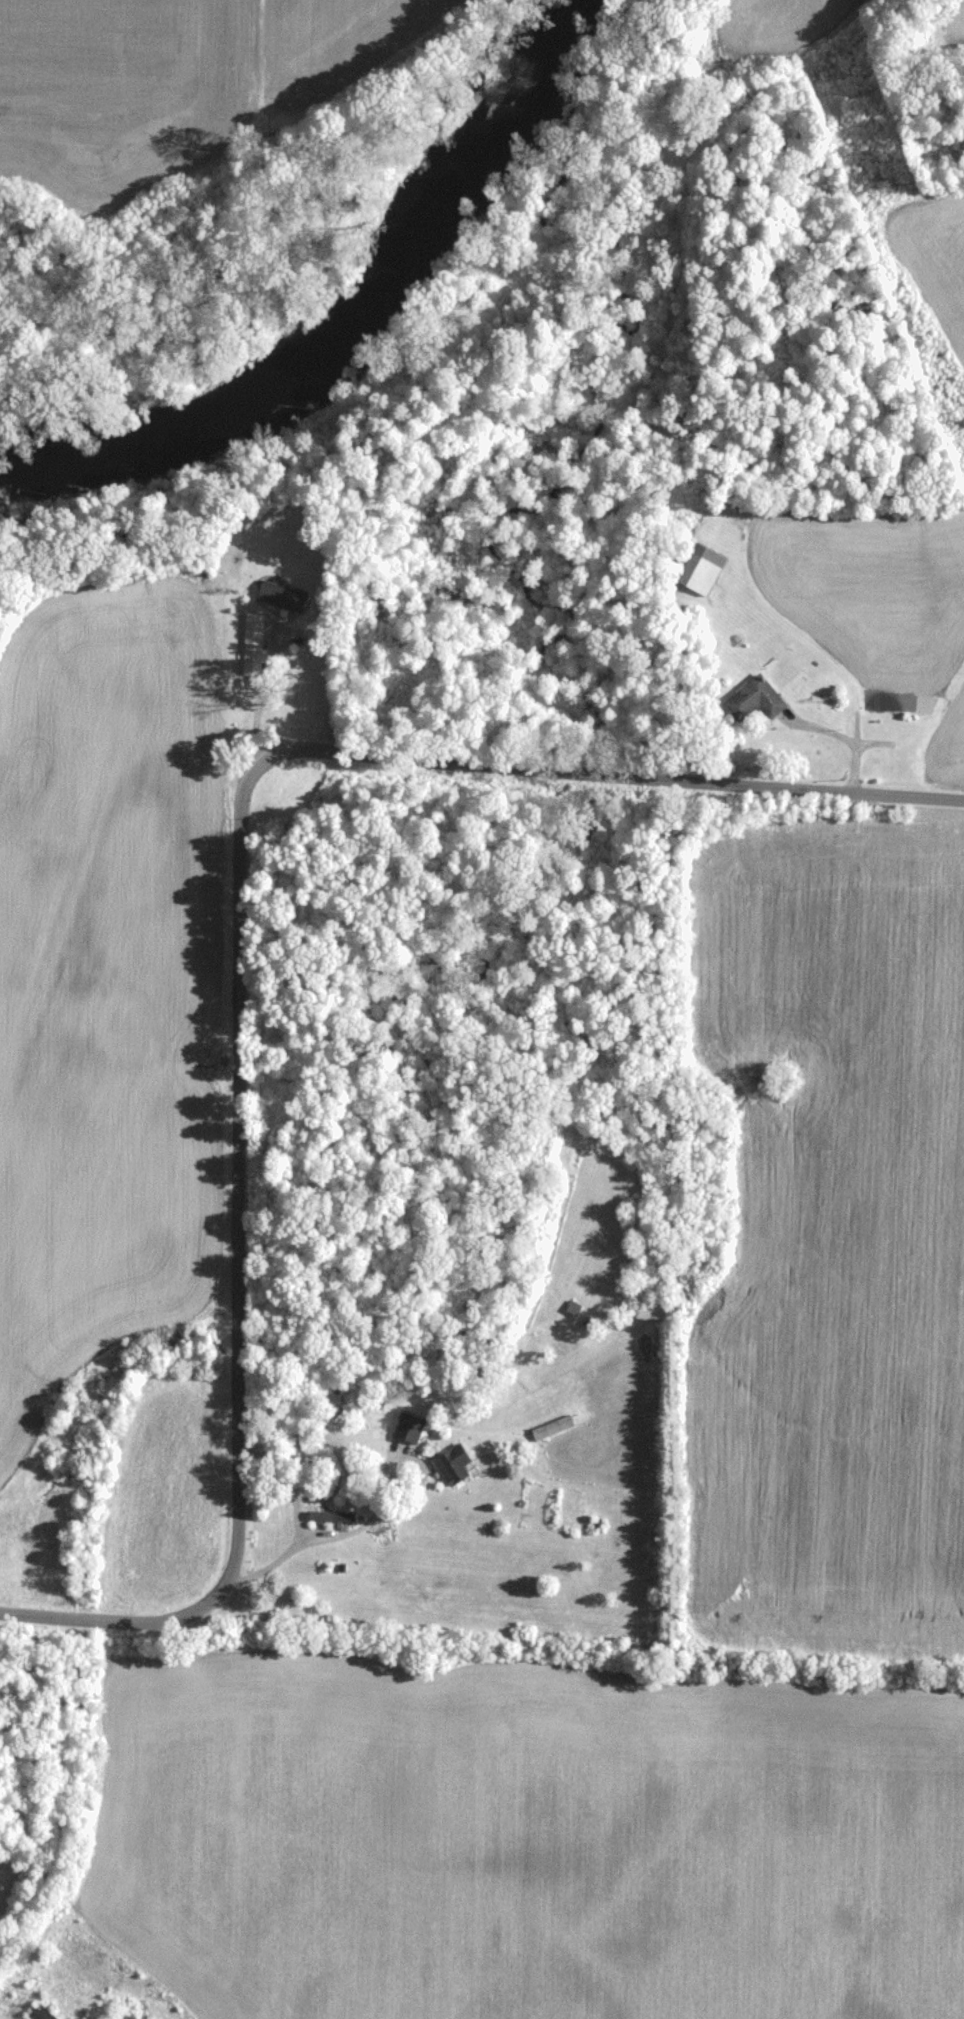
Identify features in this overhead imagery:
river: (355, 309)
building: (280, 596)
building: (250, 647)
road: (606, 783)
road: (232, 1198)
road: (325, 1541)
road: (101, 1621)
building: (39, 2012)
building: (124, 2017)

